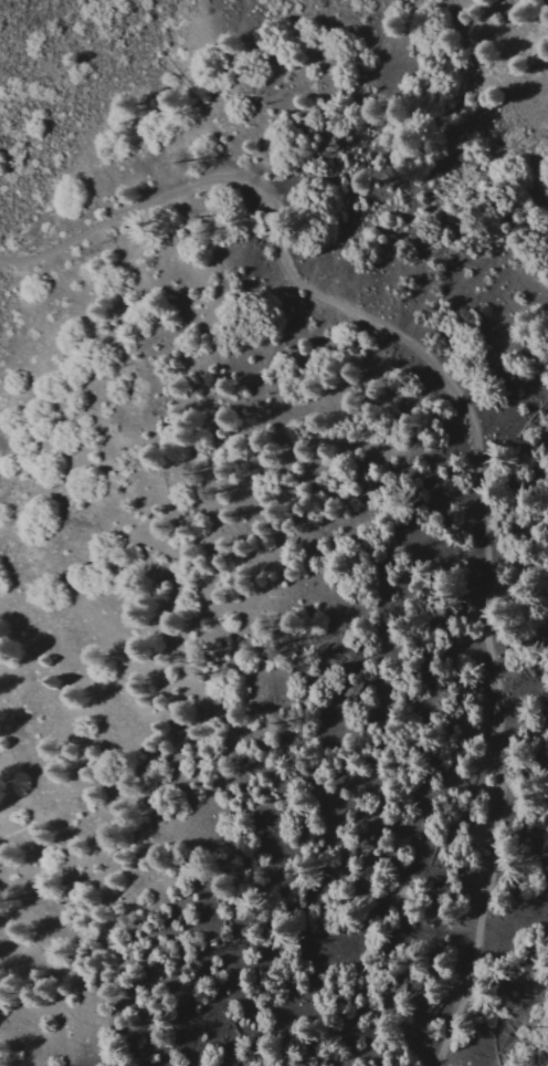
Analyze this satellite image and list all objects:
road: (109, 223)
road: (486, 561)

